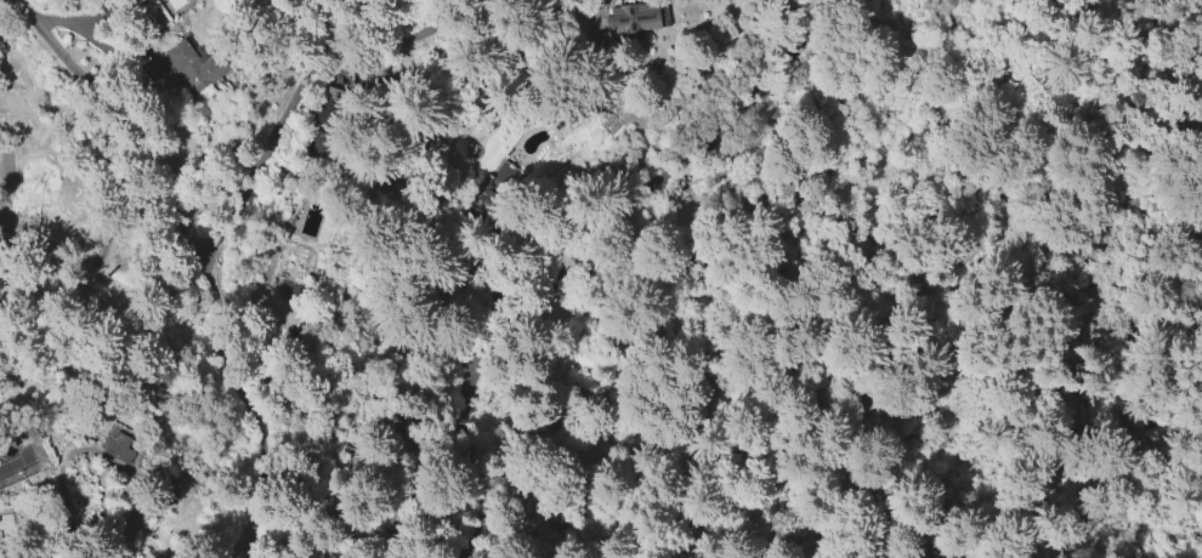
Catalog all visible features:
building: (186, 63)
road: (125, 119)
road: (227, 230)
road: (582, 241)
building: (119, 446)

